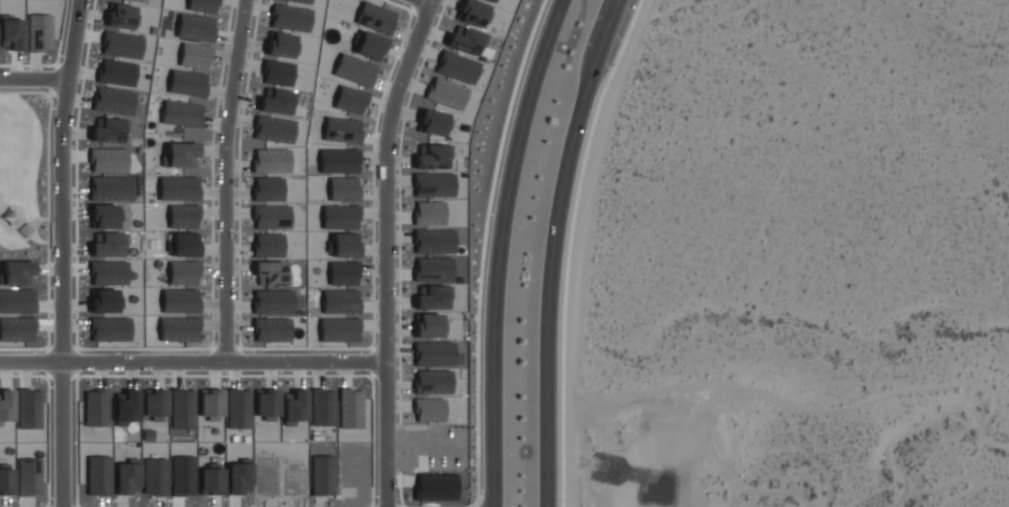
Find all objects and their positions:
building: (133, 0)
building: (492, 0)
building: (297, 1)
building: (202, 5)
building: (472, 13)
building: (119, 16)
building: (375, 17)
building: (289, 18)
building: (194, 27)
building: (38, 32)
building: (12, 33)
building: (465, 40)
building: (121, 44)
building: (281, 45)
building: (369, 46)
building: (194, 56)
building: (456, 66)
building: (353, 69)
building: (116, 72)
building: (277, 73)
road: (34, 77)
building: (186, 83)
building: (445, 93)
building: (112, 100)
building: (349, 100)
building: (277, 101)
building: (180, 113)
building: (432, 122)
building: (274, 129)
building: (341, 130)
building: (107, 131)
building: (181, 154)
building: (434, 157)
building: (271, 160)
building: (338, 160)
park: (24, 178)
road: (225, 178)
building: (433, 184)
building: (177, 188)
building: (267, 188)
building: (342, 189)
building: (428, 212)
building: (182, 215)
building: (102, 216)
building: (339, 216)
building: (270, 217)
building: (433, 241)
building: (184, 244)
building: (267, 244)
building: (344, 245)
road: (555, 248)
road: (499, 249)
road: (384, 250)
road: (59, 252)
building: (432, 269)
building: (183, 272)
building: (270, 272)
building: (342, 273)
building: (432, 297)
building: (179, 300)
building: (272, 301)
building: (339, 301)
building: (427, 325)
building: (178, 328)
building: (271, 329)
building: (338, 329)
building: (433, 353)
road: (191, 358)
building: (432, 381)
building: (154, 404)
building: (210, 404)
building: (265, 404)
building: (293, 406)
building: (96, 407)
building: (126, 407)
building: (182, 408)
building: (238, 408)
building: (428, 410)
building: (322, 474)

